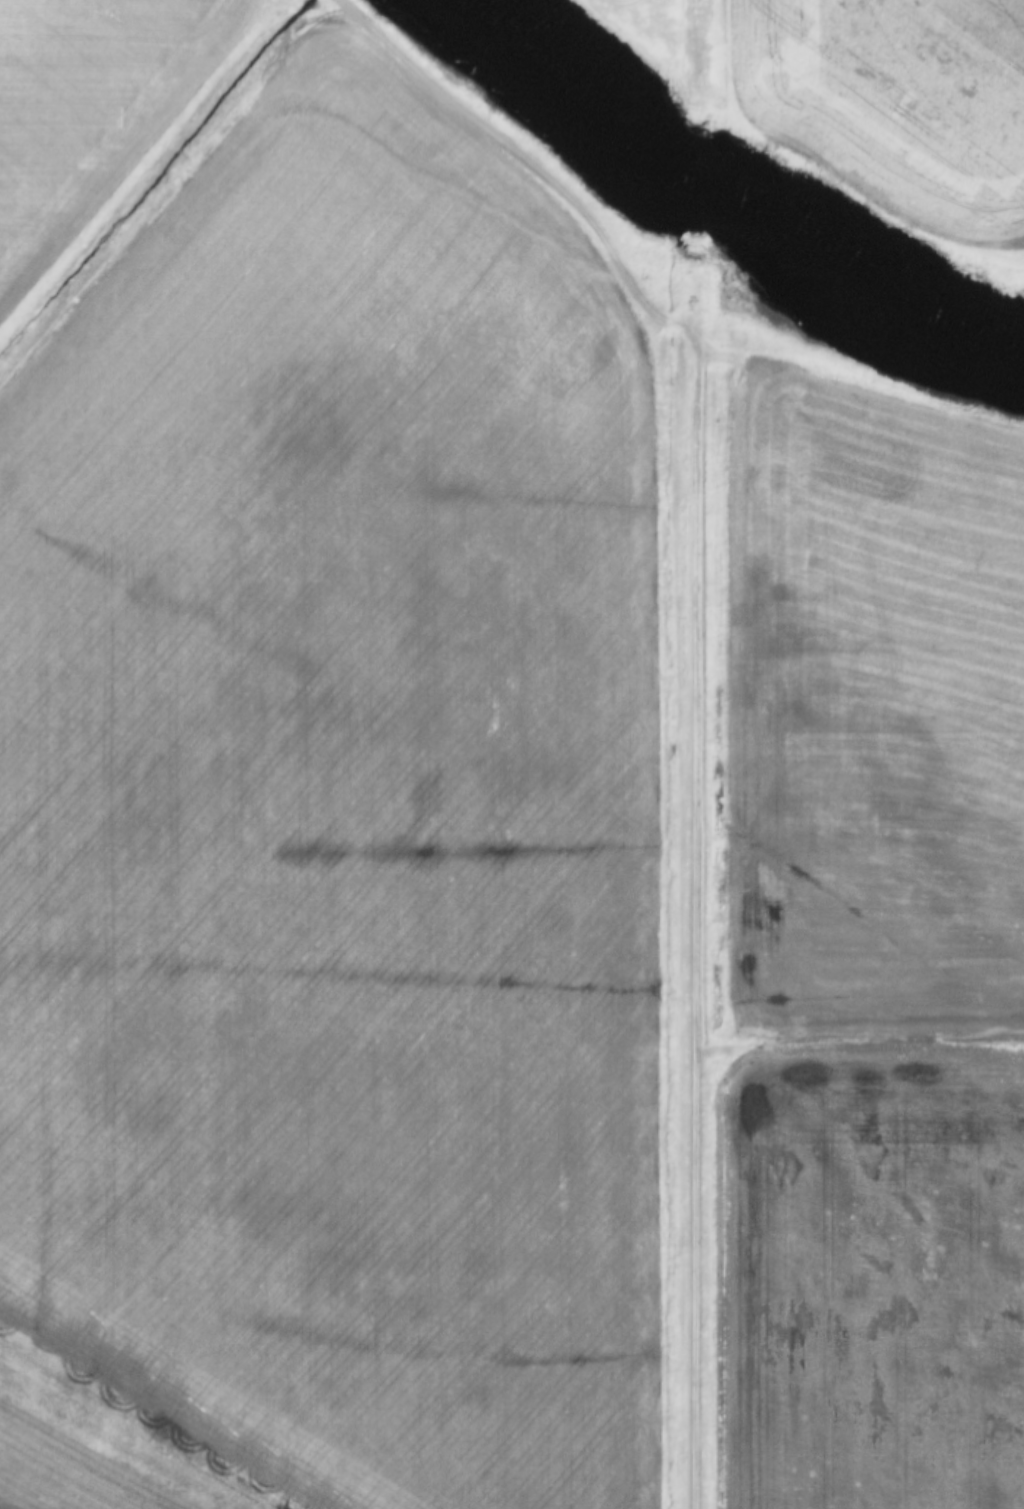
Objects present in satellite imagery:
road: (538, 164)
river: (737, 201)
road: (703, 931)

